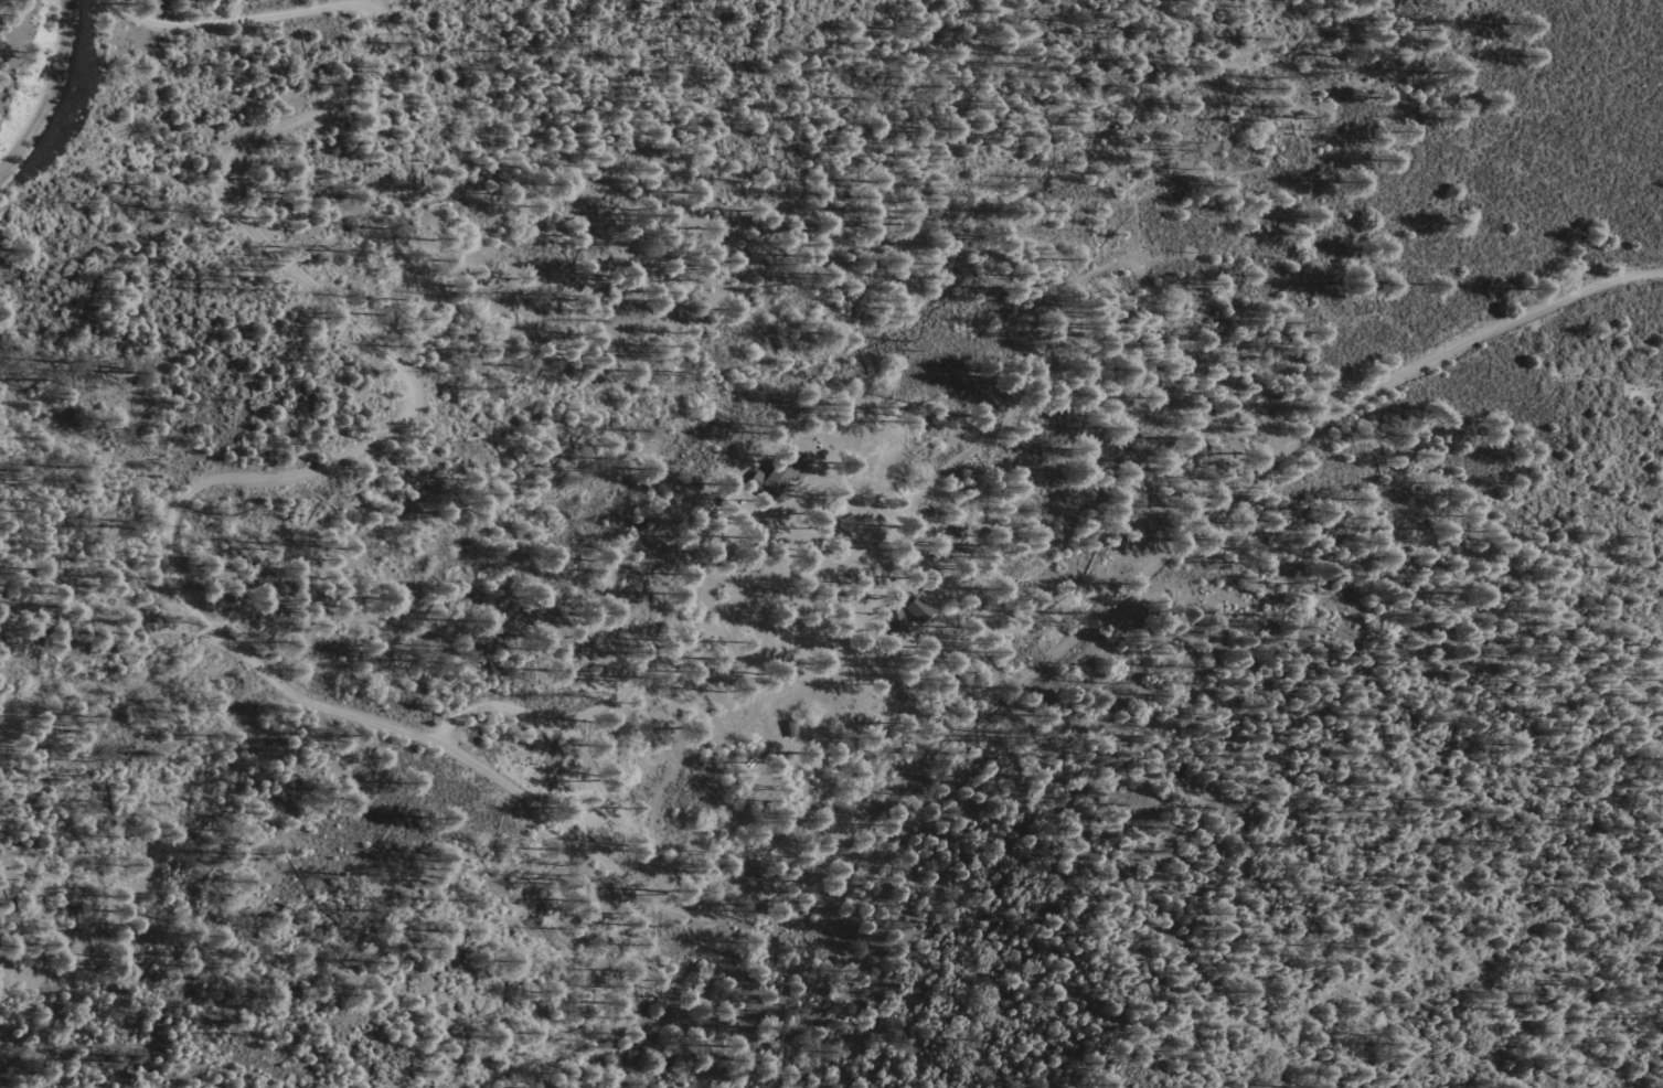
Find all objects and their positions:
road: (70, 6)
road: (49, 98)
road: (1598, 287)
building: (780, 474)
building: (914, 607)
building: (893, 620)
road: (614, 696)
road: (391, 726)

